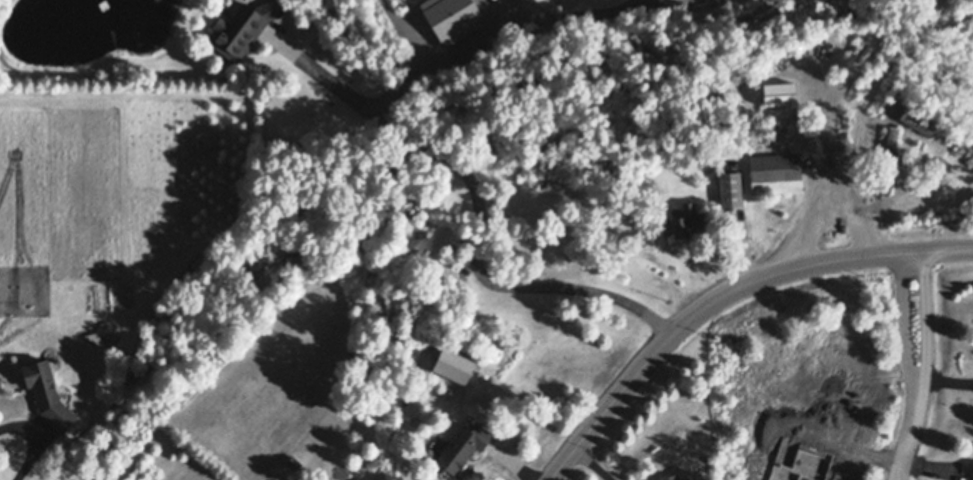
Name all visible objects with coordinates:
road: (630, 5)
building: (452, 16)
building: (242, 25)
road: (325, 78)
building: (751, 107)
building: (918, 111)
road: (857, 127)
road: (398, 136)
building: (838, 142)
building: (887, 149)
building: (969, 154)
building: (775, 169)
building: (730, 185)
building: (686, 216)
road: (723, 296)
building: (0, 307)
road: (919, 367)
building: (47, 392)
building: (453, 395)
road: (30, 442)
building: (463, 444)
building: (428, 450)
building: (711, 459)
building: (294, 462)
building: (970, 470)
building: (675, 476)
building: (368, 479)

